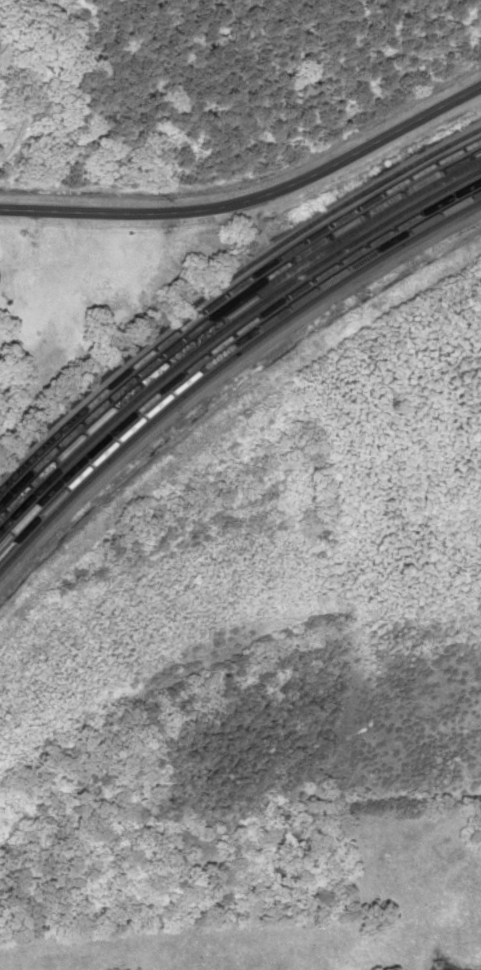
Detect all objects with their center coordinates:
building: (473, 159)
road: (279, 189)
road: (27, 208)
railway: (226, 279)
railway: (227, 290)
railway: (225, 301)
railway: (225, 312)
railway: (226, 323)
railway: (225, 335)
railway: (225, 346)
railway: (223, 358)

